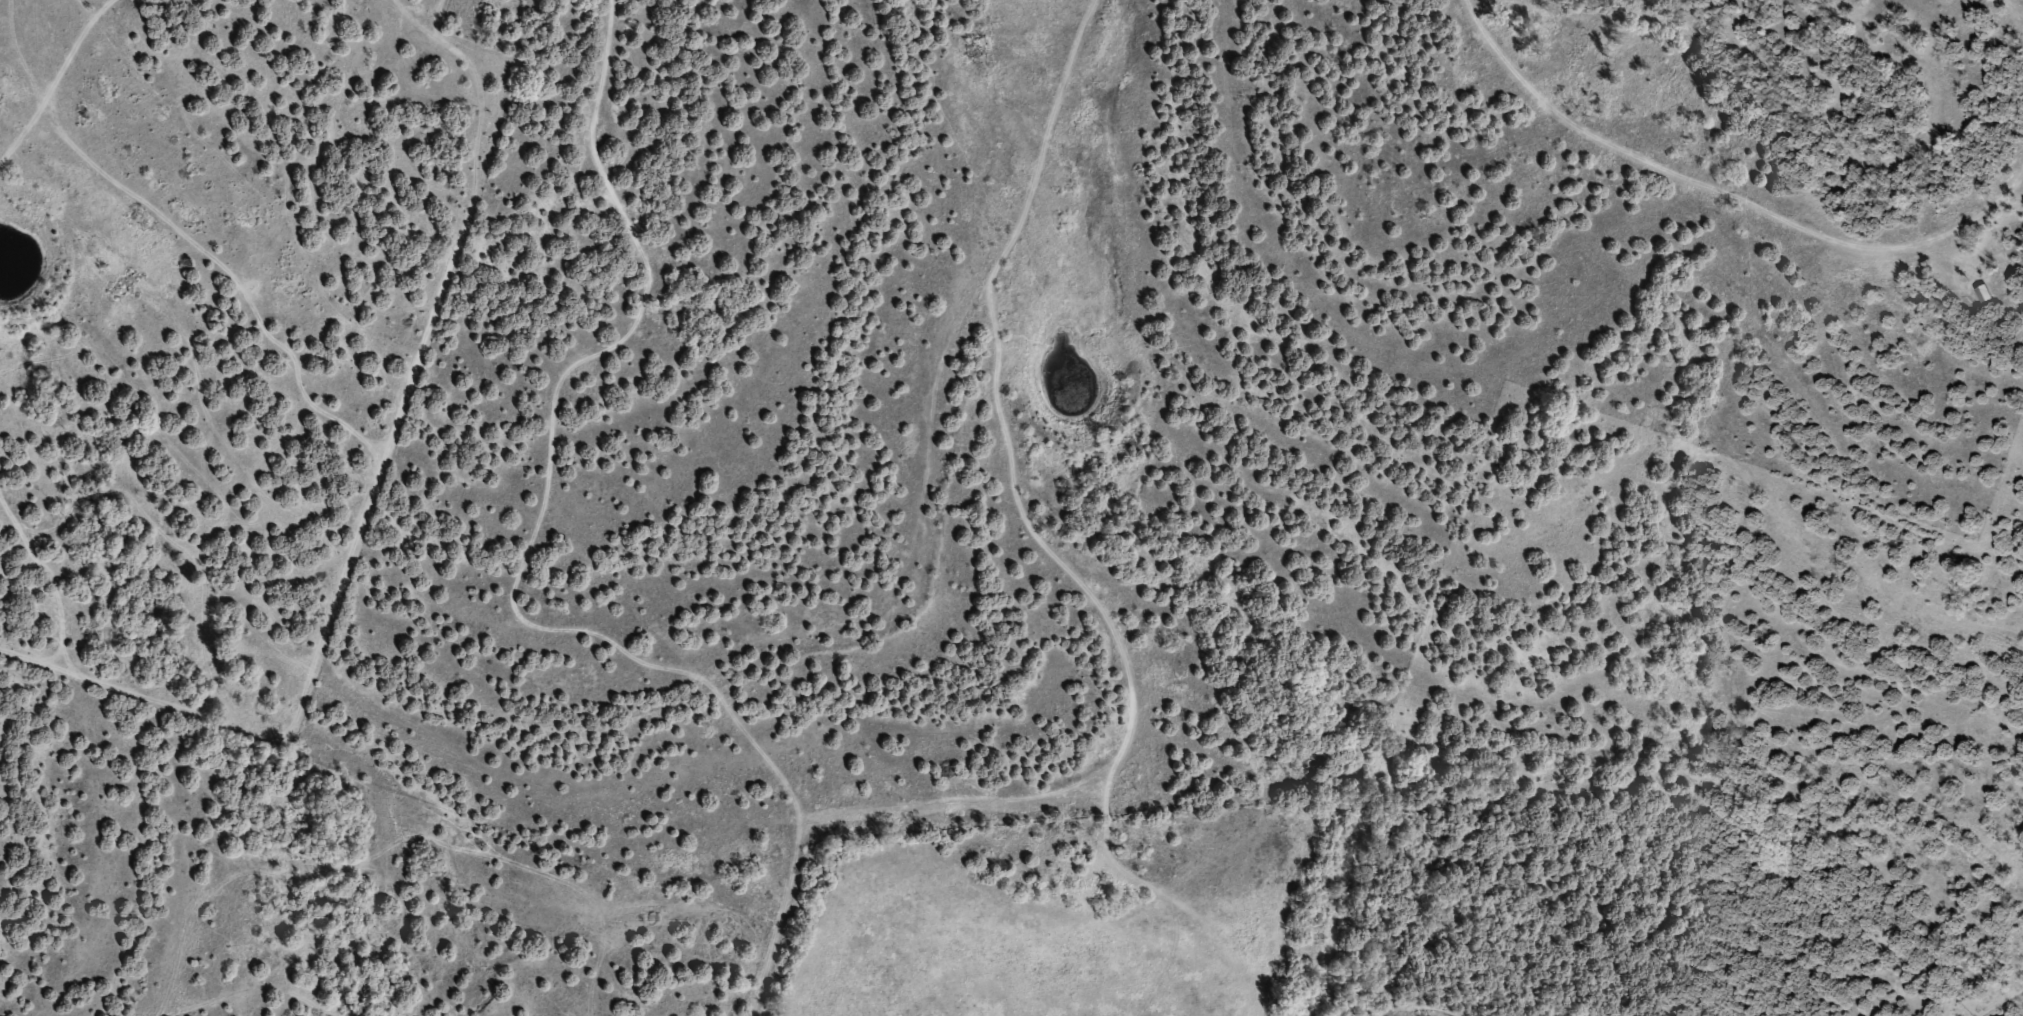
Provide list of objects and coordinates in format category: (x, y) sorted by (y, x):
road: (1047, 769)

